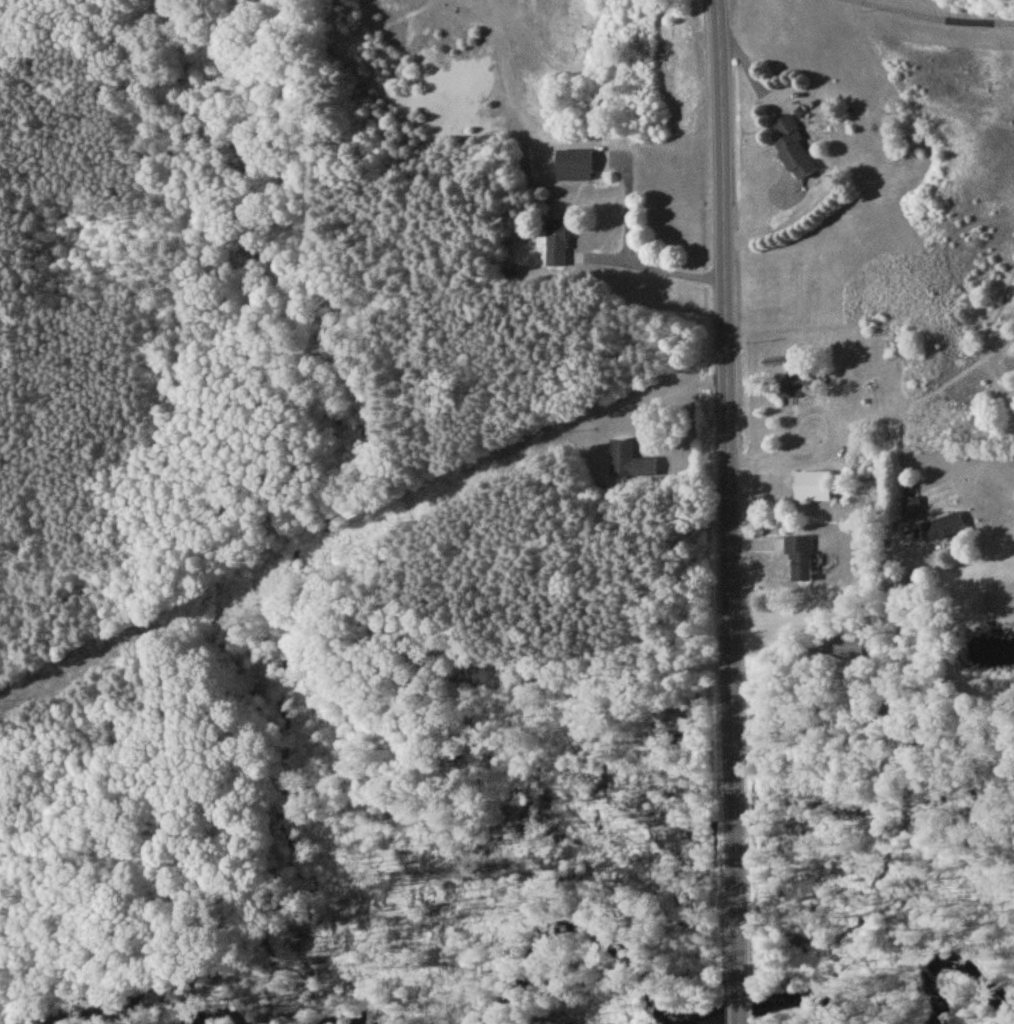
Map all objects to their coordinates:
road: (931, 18)
building: (793, 154)
building: (573, 169)
building: (555, 245)
road: (628, 263)
building: (794, 388)
road: (670, 398)
road: (828, 441)
building: (630, 463)
building: (813, 489)
road: (729, 511)
building: (910, 511)
building: (943, 530)
building: (800, 561)
building: (850, 650)
road: (888, 684)

